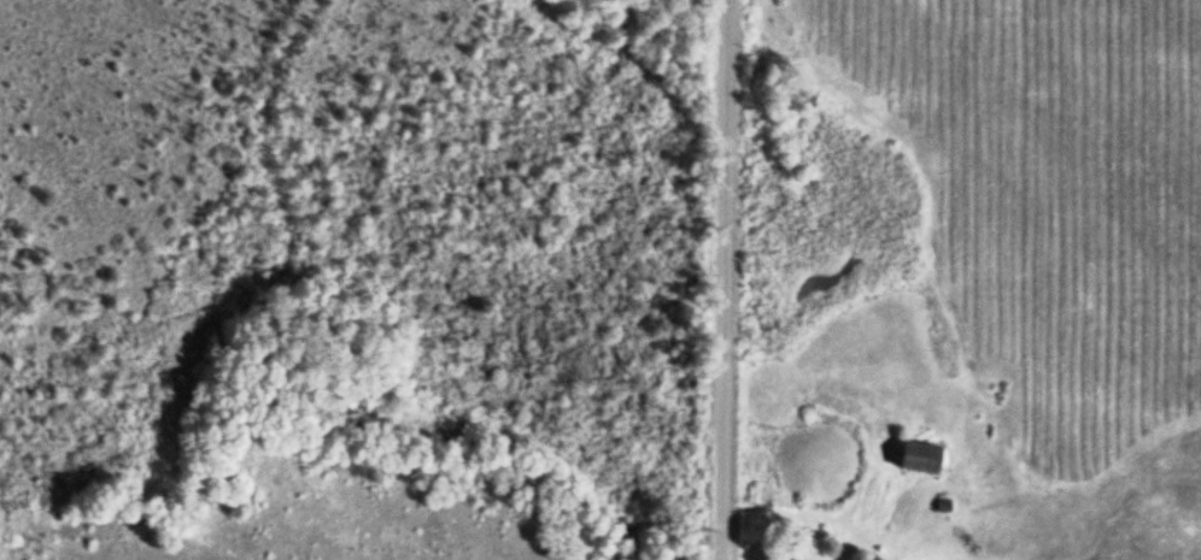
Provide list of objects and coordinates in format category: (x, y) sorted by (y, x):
road: (725, 279)
building: (919, 461)

